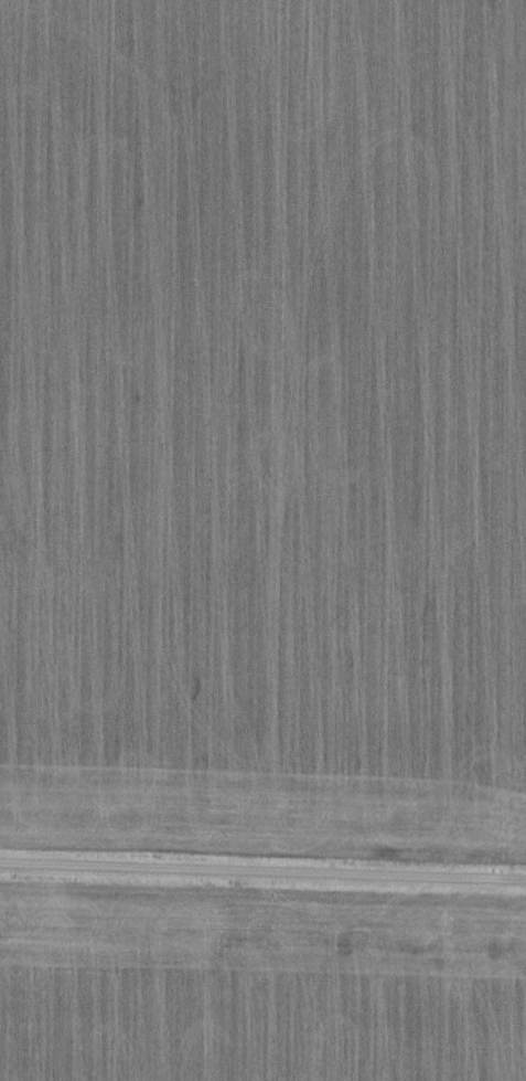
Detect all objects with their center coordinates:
road: (262, 870)

